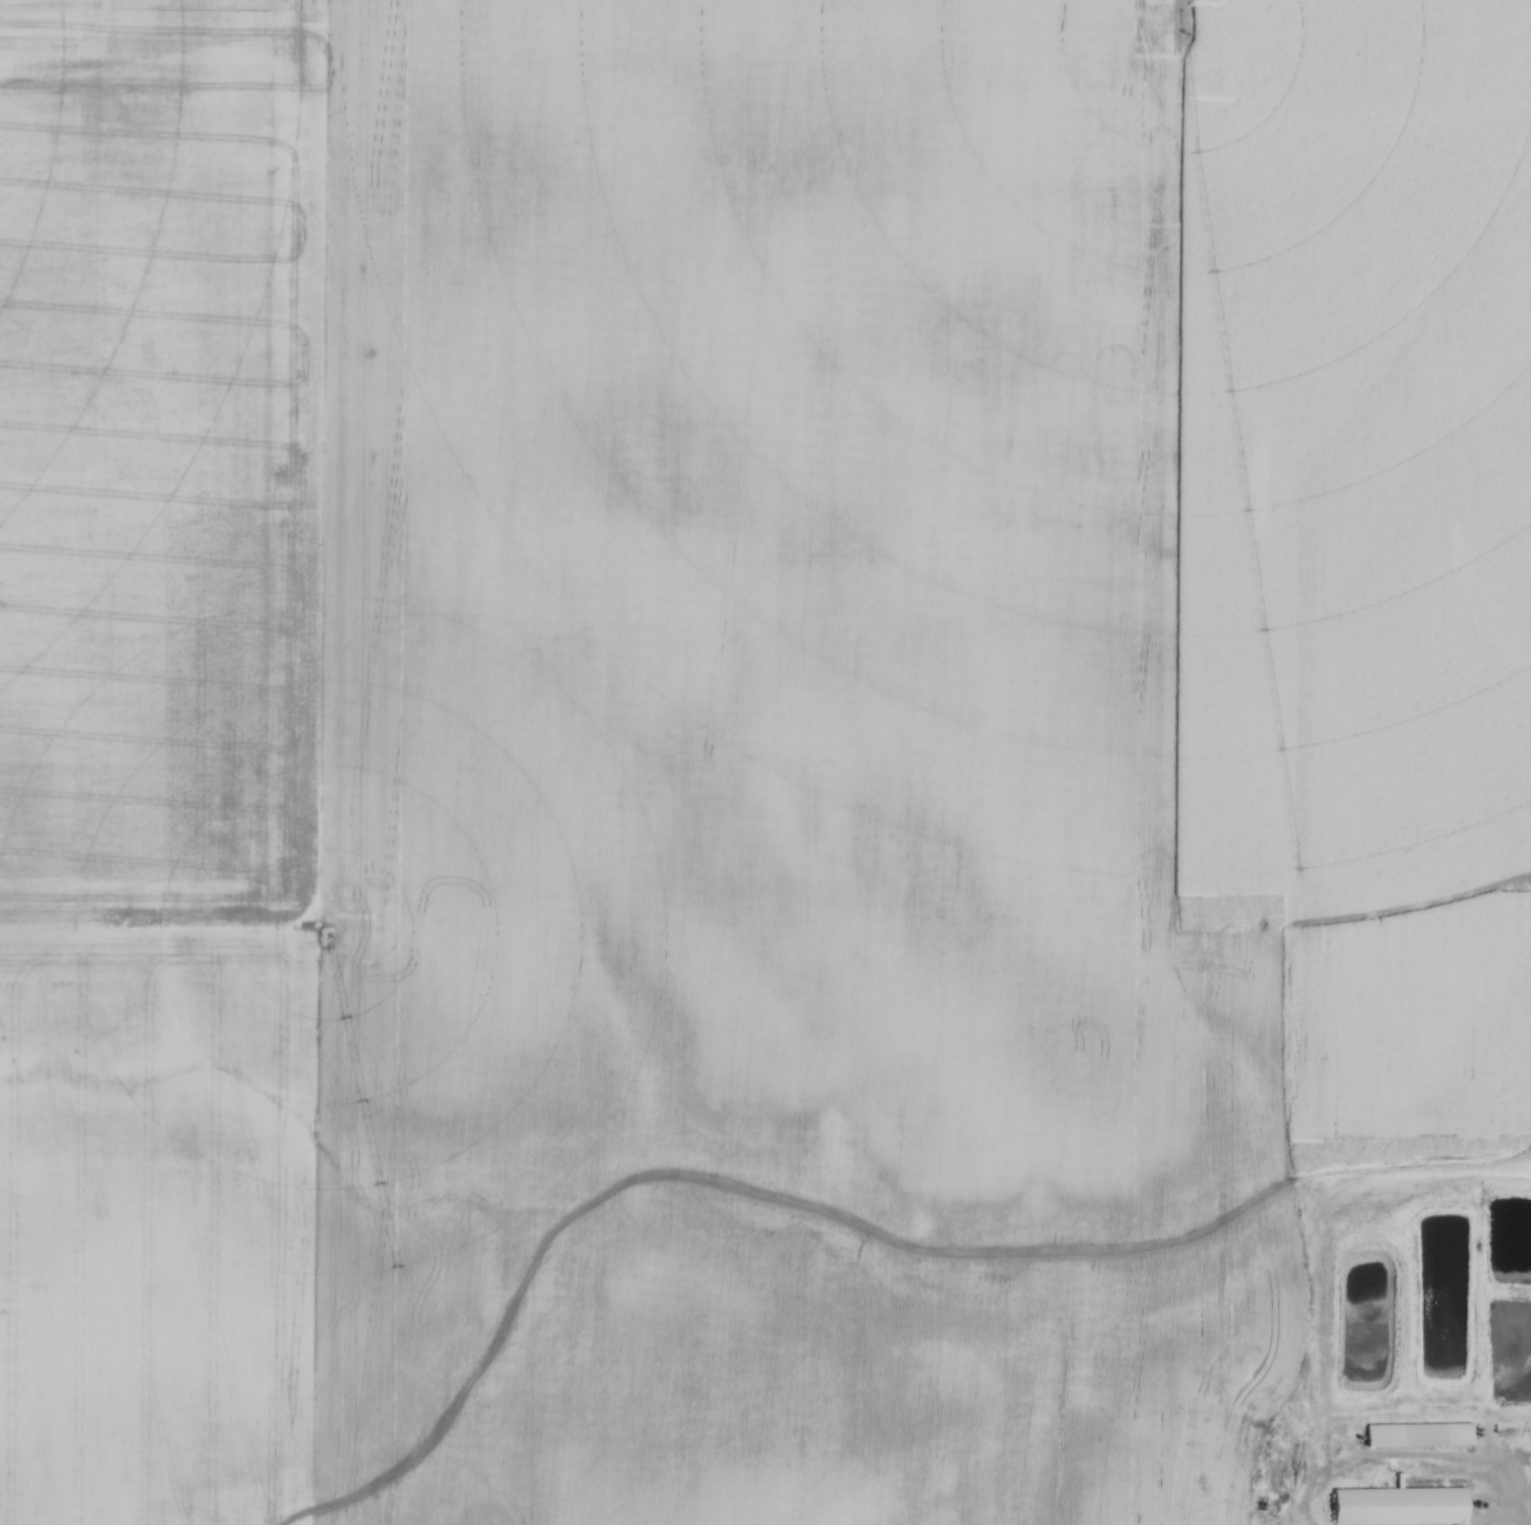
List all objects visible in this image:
building: (1413, 1435)

